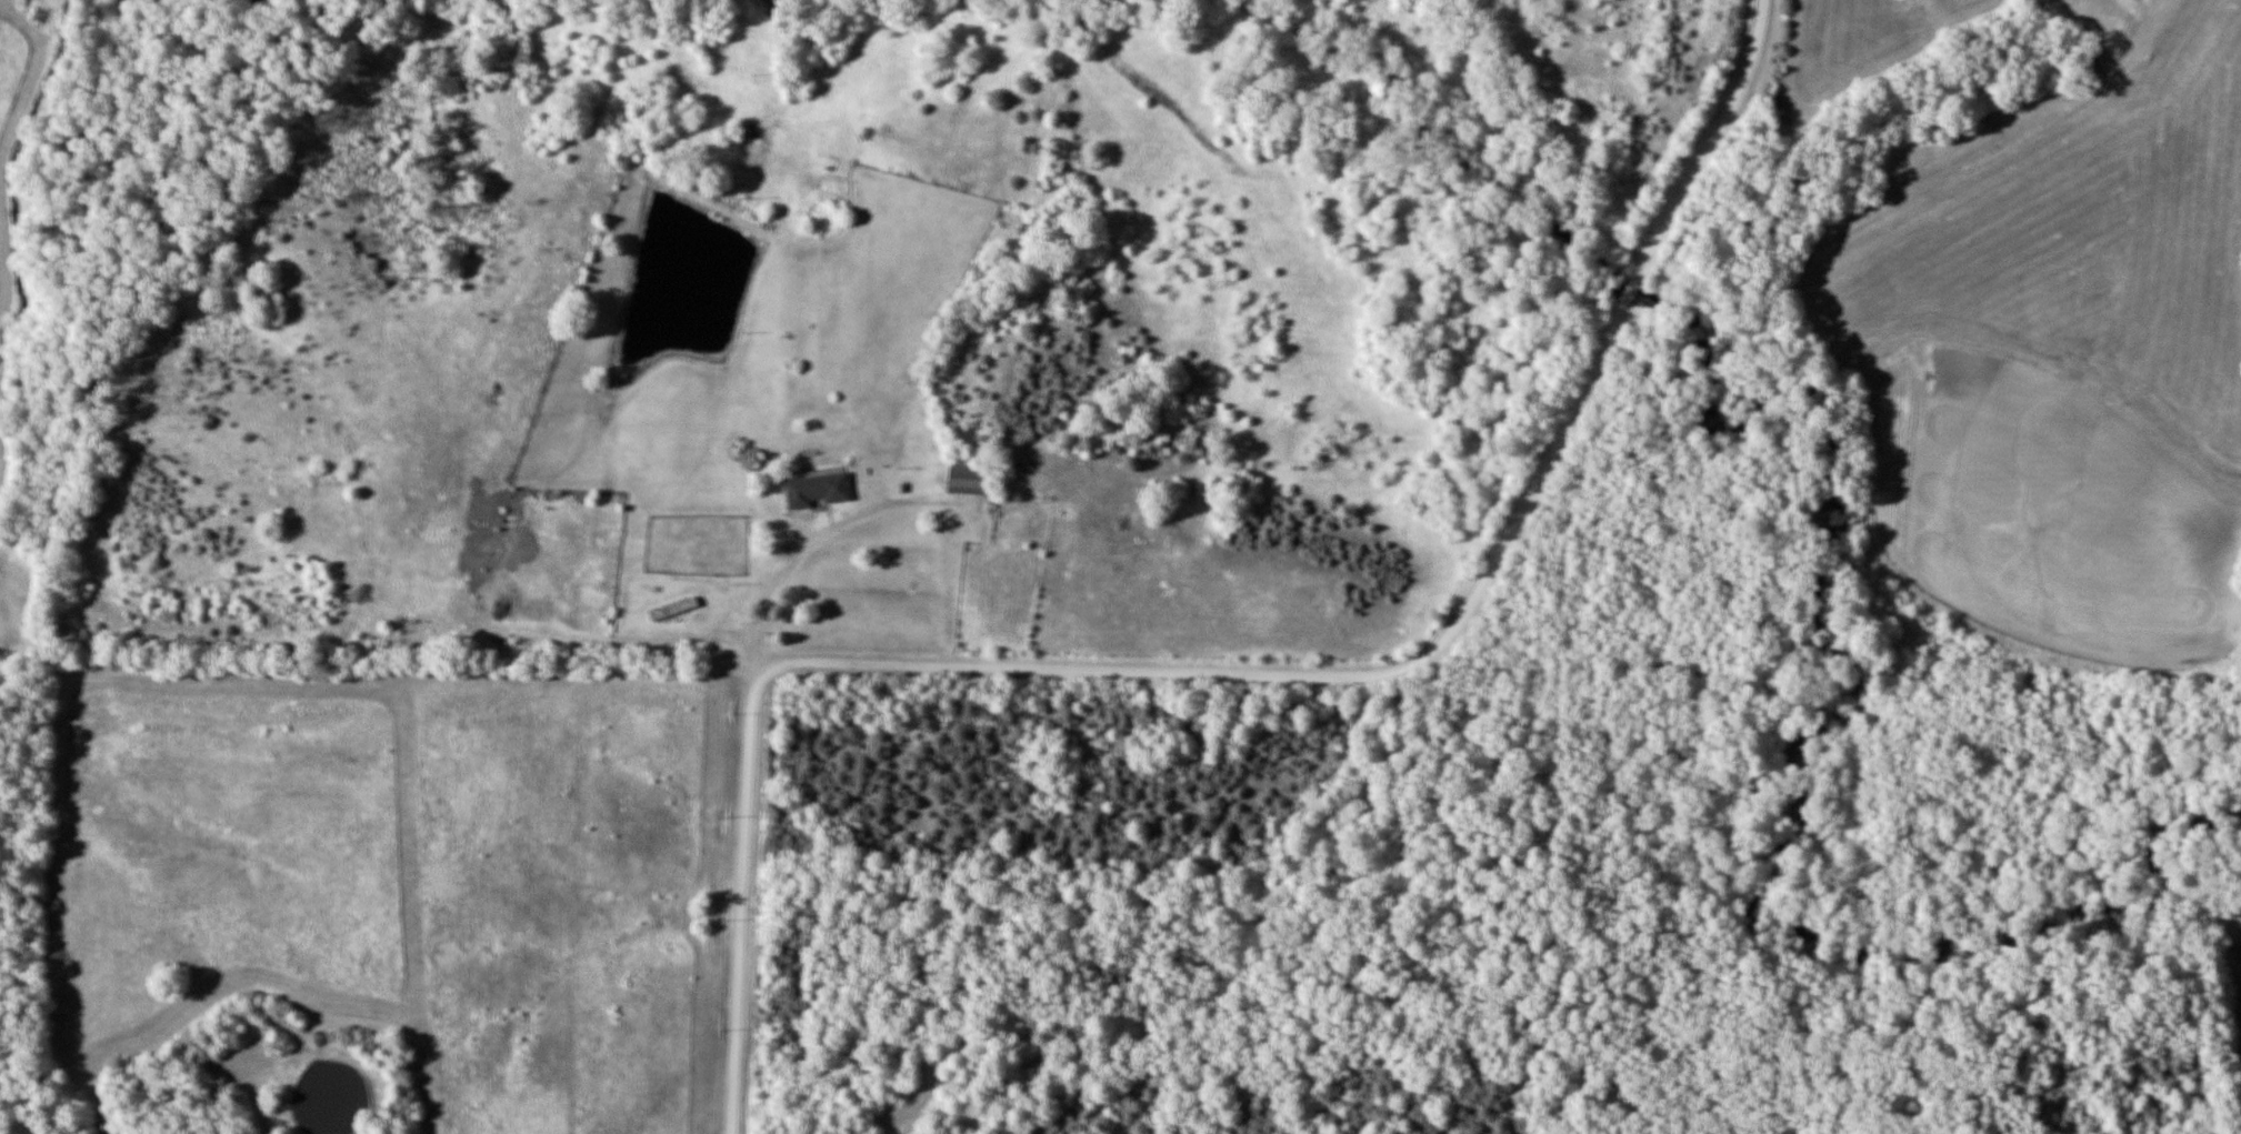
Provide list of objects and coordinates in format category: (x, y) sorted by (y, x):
building: (972, 479)
building: (819, 490)
road: (1230, 676)

